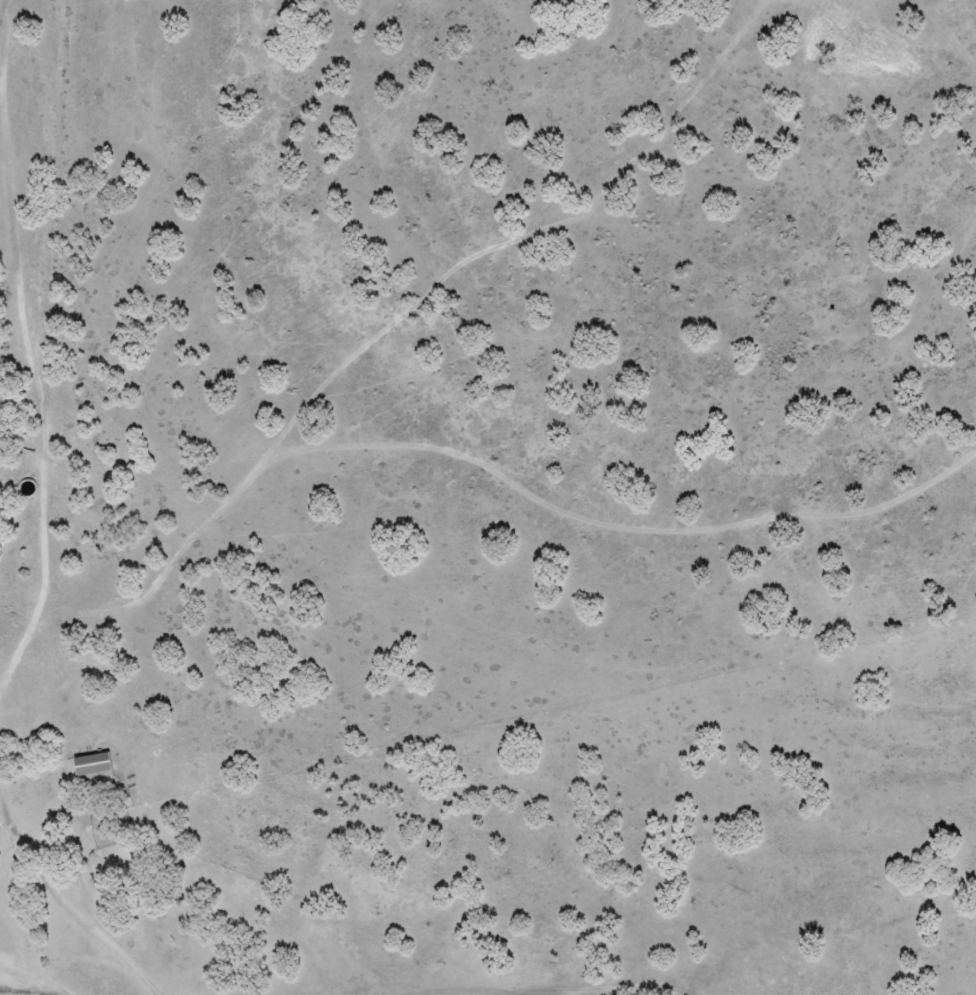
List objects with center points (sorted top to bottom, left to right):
building: (85, 762)
road: (75, 911)

